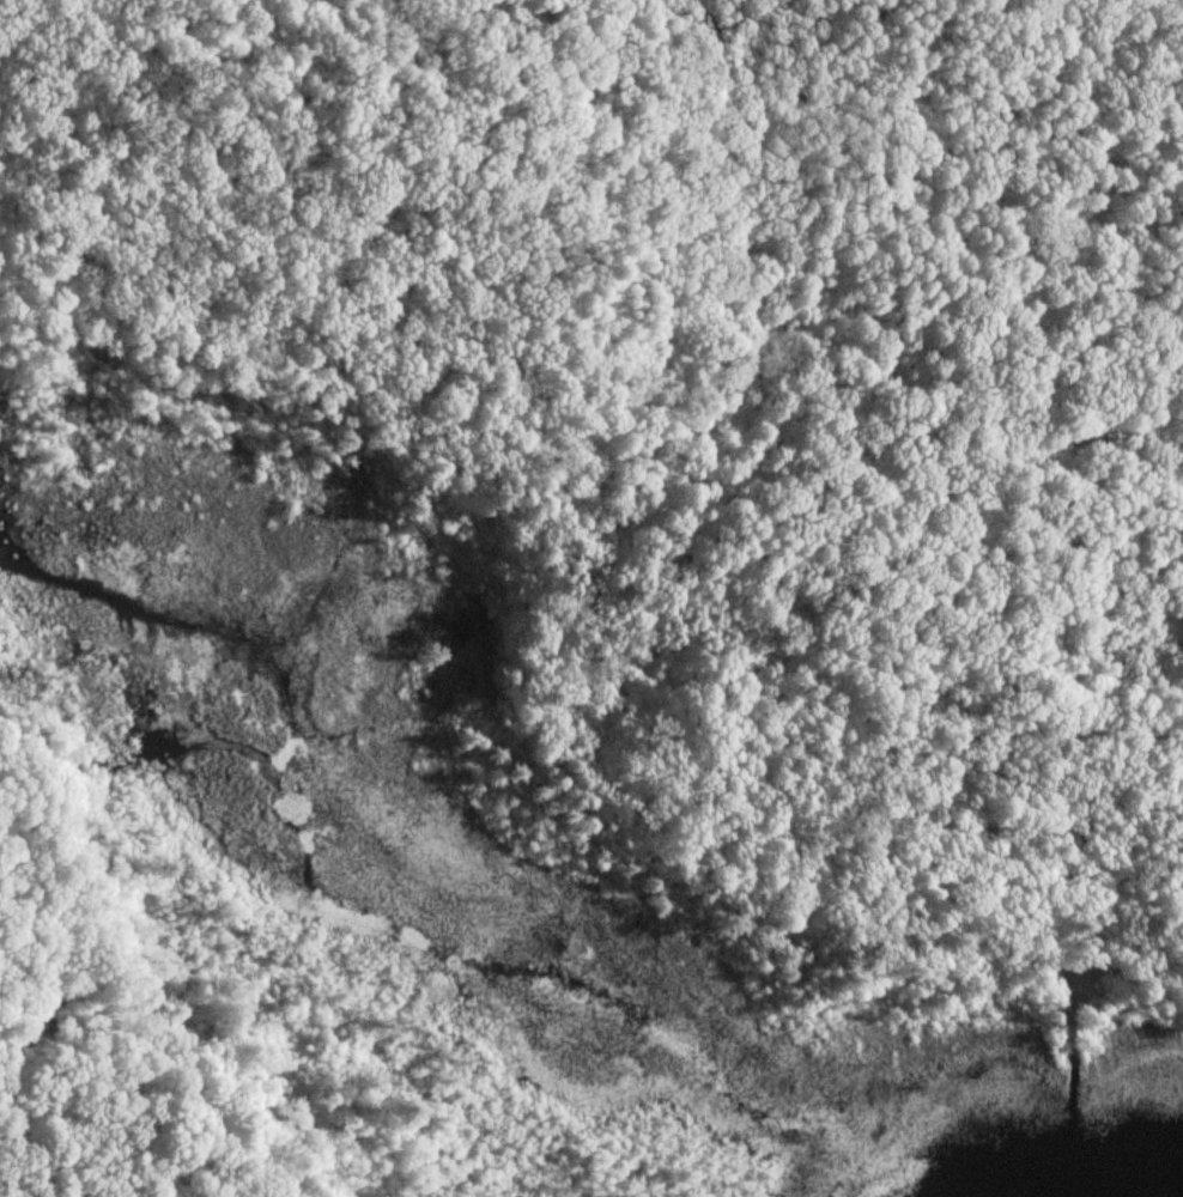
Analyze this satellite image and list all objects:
road: (307, 344)
road: (597, 595)
parking lot: (1069, 998)

